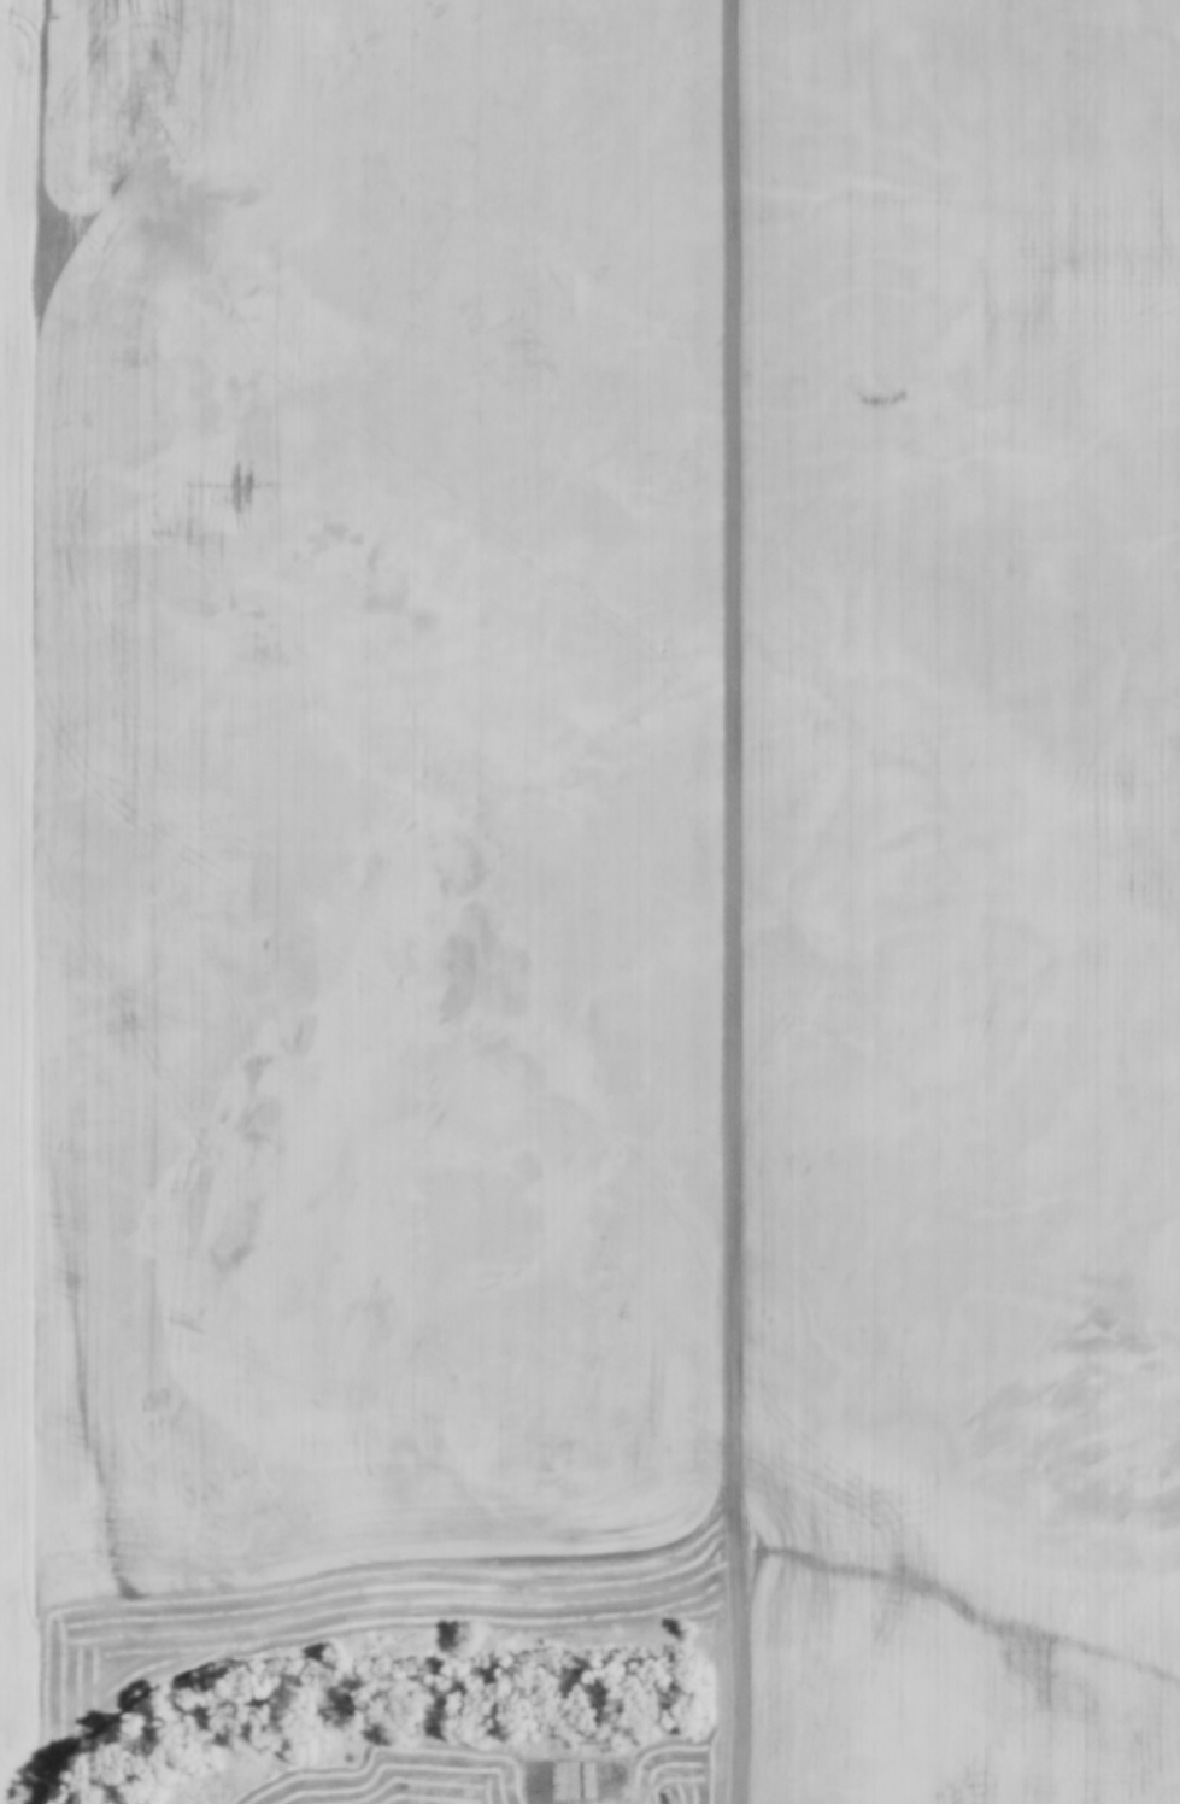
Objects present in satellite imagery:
road: (738, 902)

